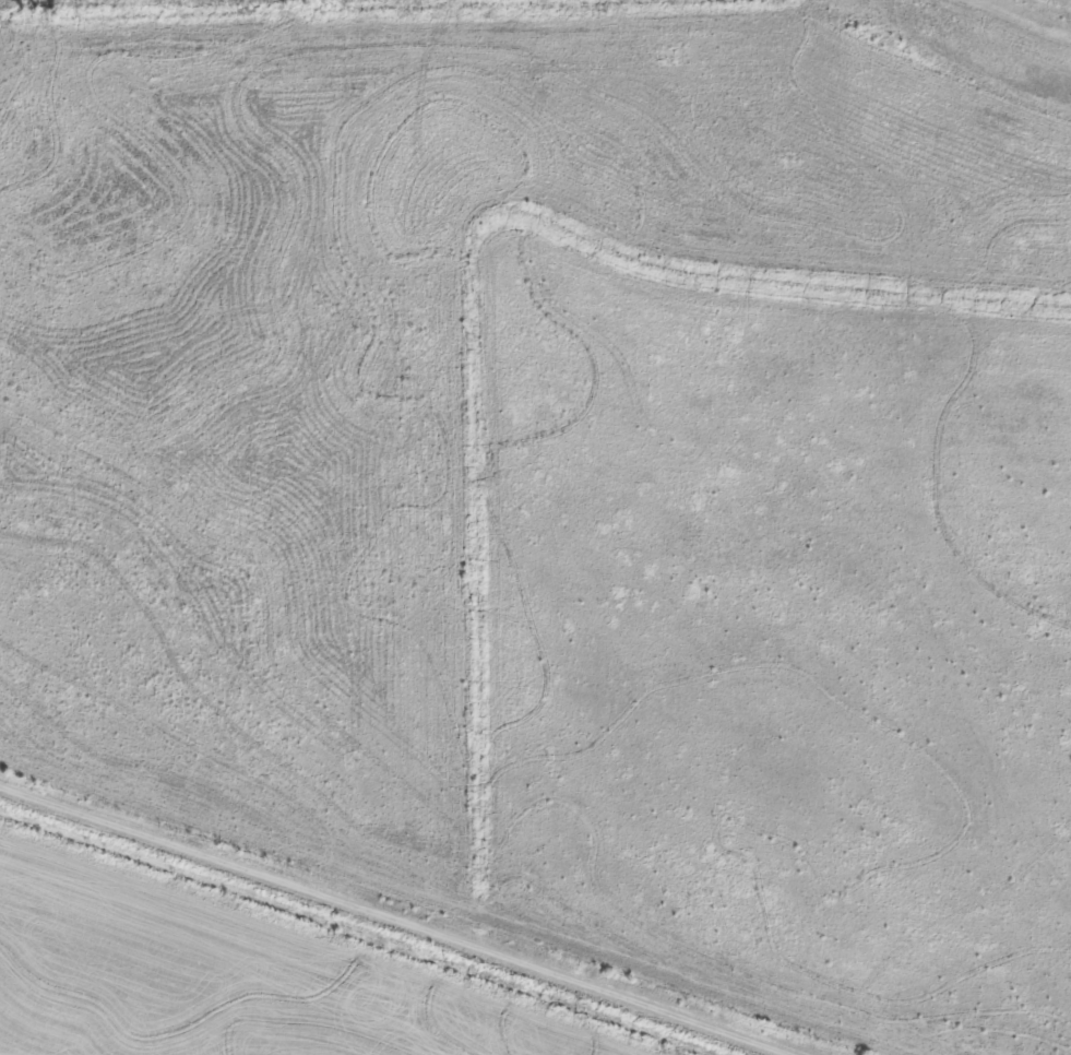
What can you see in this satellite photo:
road: (199, 5)

